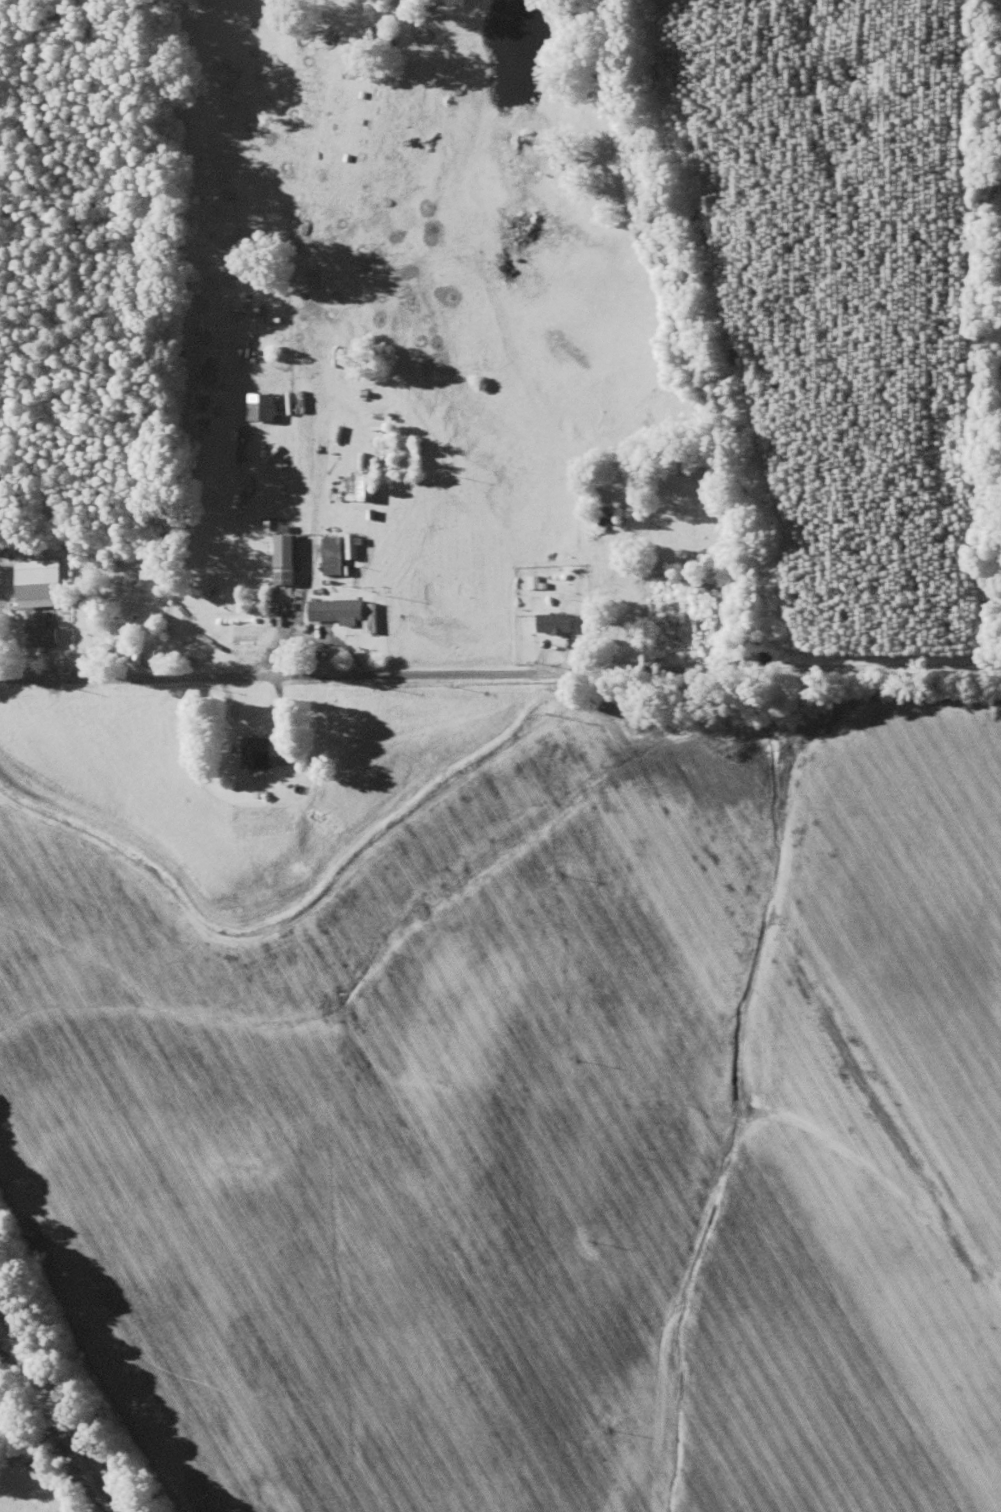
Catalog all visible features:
building: (265, 407)
building: (364, 488)
building: (613, 517)
building: (353, 547)
building: (336, 556)
building: (287, 560)
building: (540, 584)
building: (338, 612)
building: (559, 624)
building: (41, 630)
road: (500, 682)
building: (259, 753)
railway: (55, 1417)

